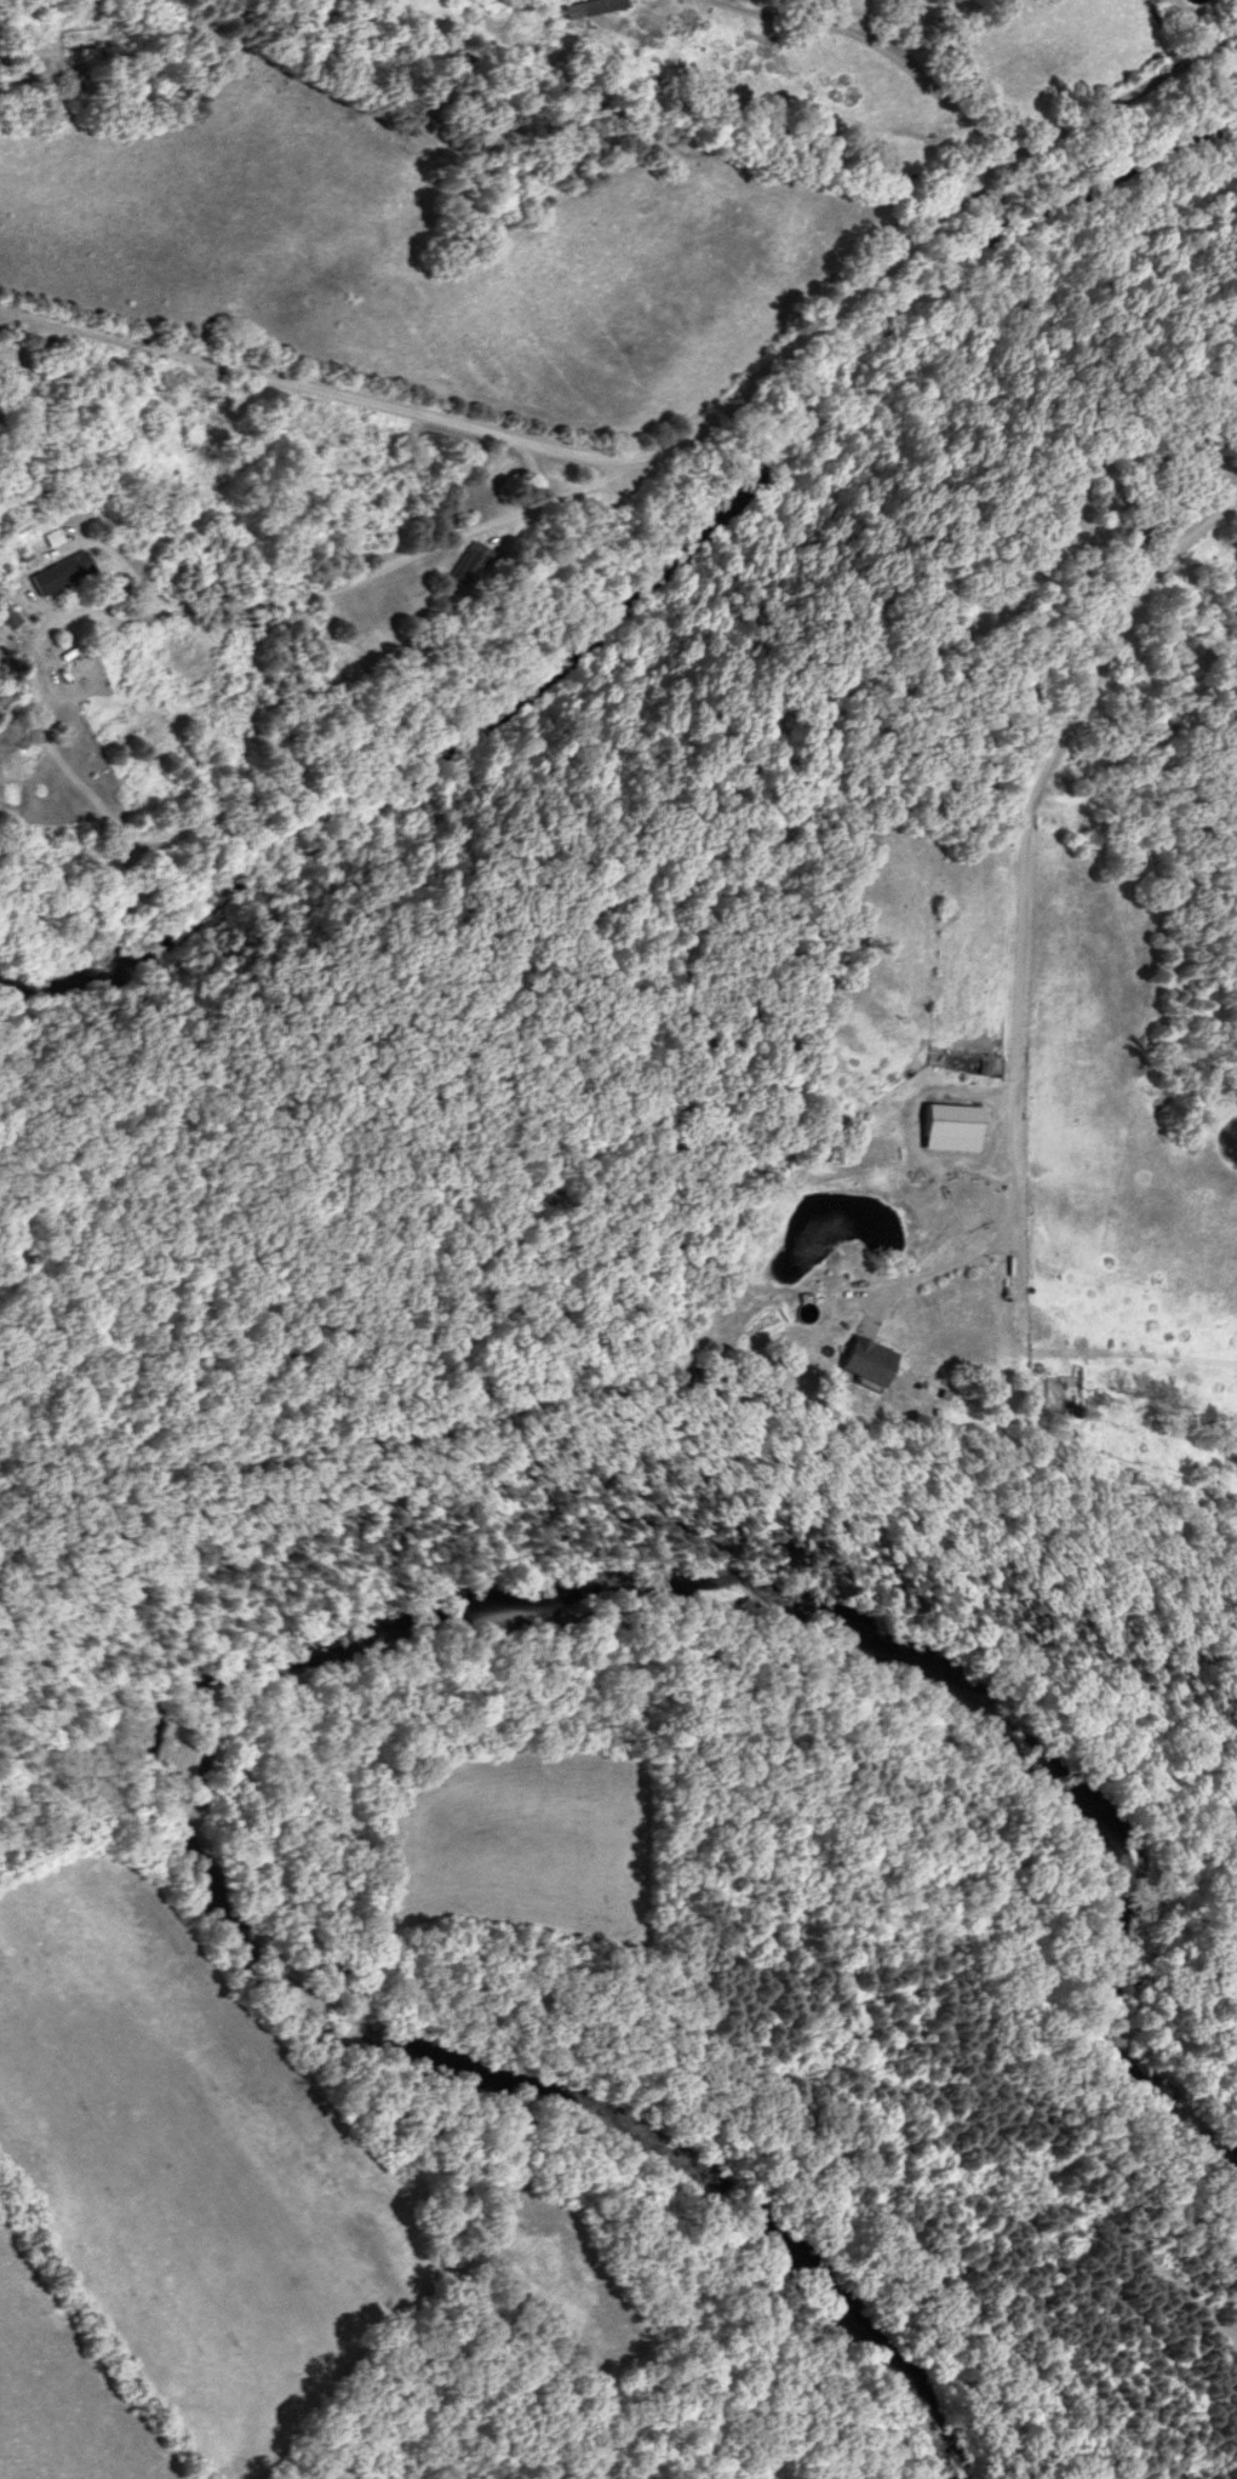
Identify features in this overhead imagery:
building: (585, 6)
road: (882, 46)
road: (316, 394)
building: (207, 413)
building: (353, 440)
road: (632, 472)
road: (532, 476)
building: (449, 516)
building: (465, 564)
building: (57, 572)
road: (224, 610)
building: (7, 619)
road: (1019, 897)
building: (946, 1125)
building: (869, 1355)

